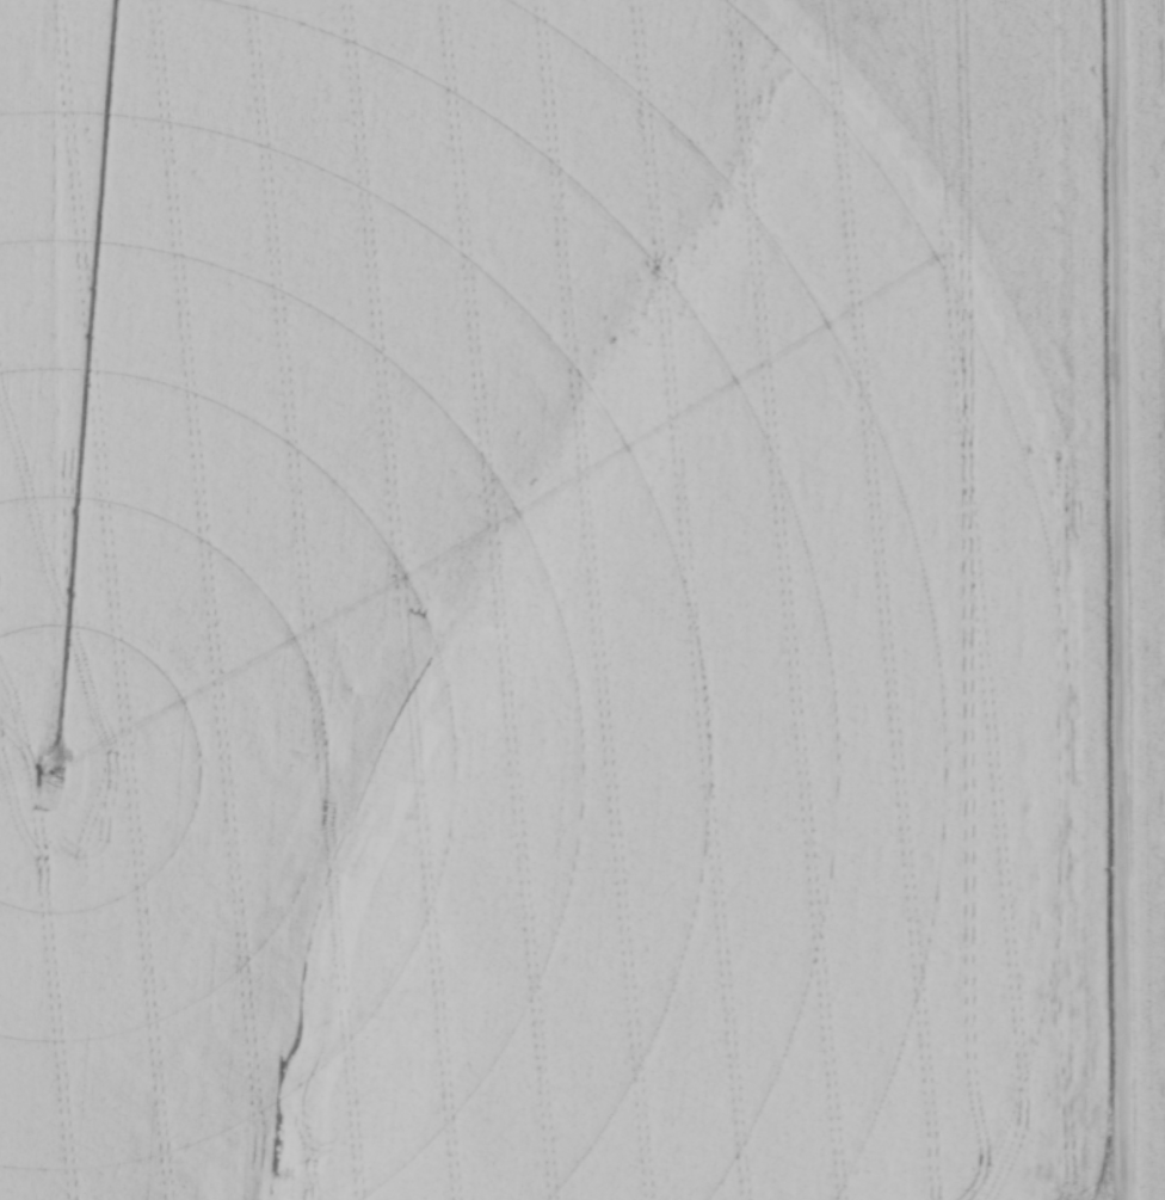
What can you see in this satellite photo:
road: (1116, 599)

